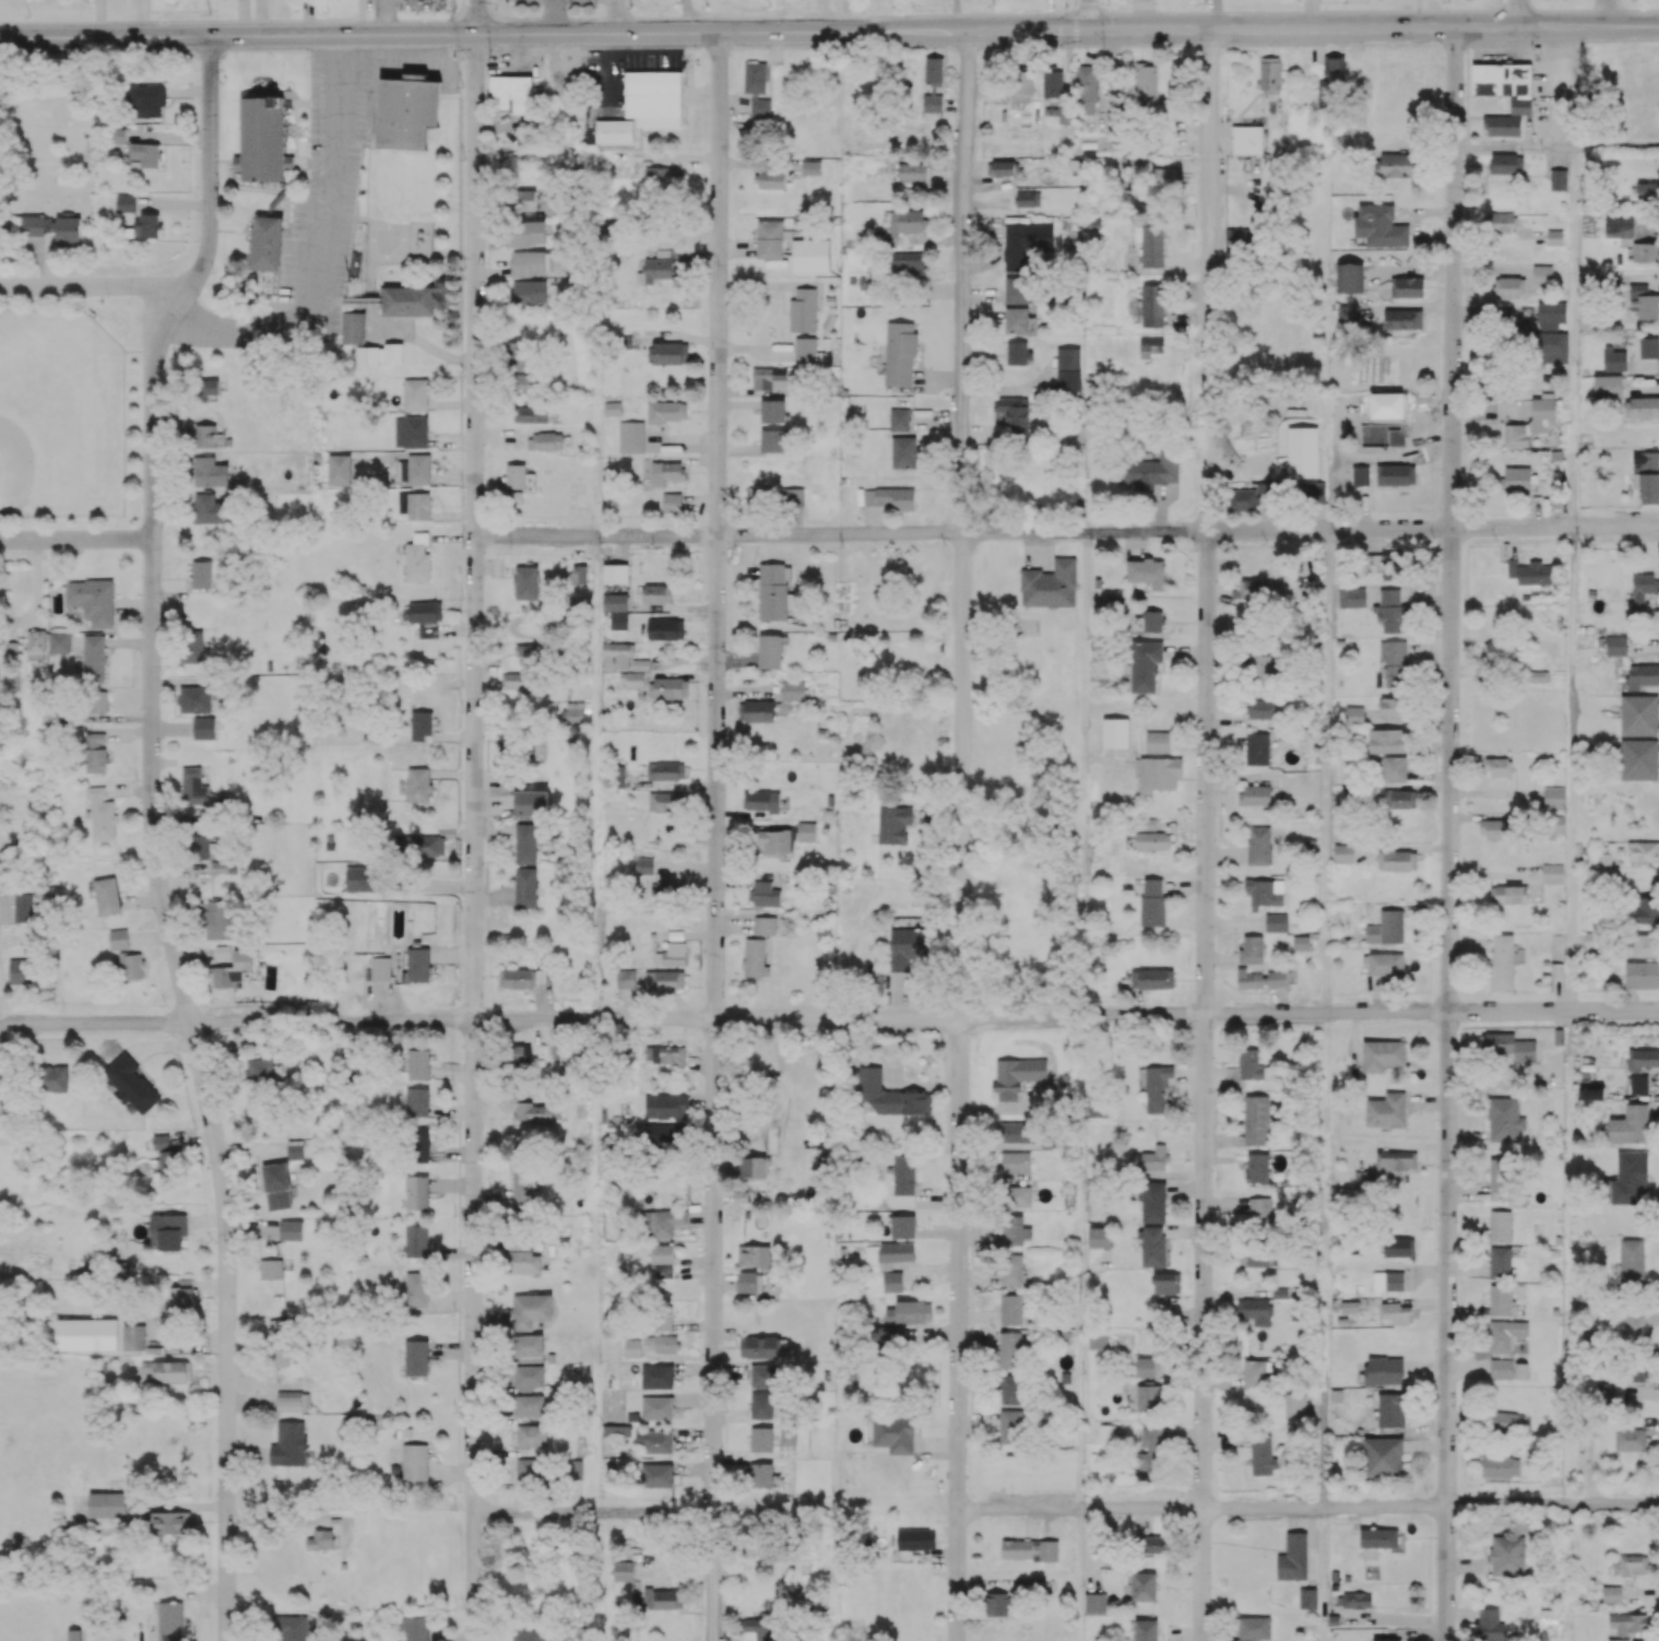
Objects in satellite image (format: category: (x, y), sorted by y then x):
road: (1517, 12)
road: (1088, 14)
road: (957, 15)
road: (477, 16)
traffic signals: (1088, 29)
road: (829, 31)
traffic signals: (477, 34)
building: (1270, 72)
building: (755, 76)
building: (1331, 78)
building: (1146, 80)
building: (1055, 83)
building: (1504, 83)
building: (933, 84)
building: (1022, 85)
road: (1562, 86)
building: (1086, 88)
building: (511, 93)
building: (147, 99)
building: (644, 105)
building: (760, 108)
building: (407, 110)
building: (1502, 125)
building: (116, 134)
building: (262, 139)
building: (1247, 139)
road: (1616, 146)
road: (1508, 147)
road: (1568, 147)
building: (144, 154)
building: (1130, 163)
road: (1209, 163)
building: (1505, 163)
building: (1397, 164)
building: (810, 167)
building: (1003, 167)
building: (912, 172)
building: (659, 175)
building: (1166, 176)
building: (771, 178)
building: (1557, 179)
building: (1648, 191)
building: (1028, 198)
building: (523, 199)
building: (125, 203)
building: (908, 221)
building: (1498, 222)
building: (26, 224)
building: (147, 224)
building: (1627, 224)
building: (1379, 226)
building: (67, 227)
building: (528, 233)
building: (1554, 237)
building: (770, 238)
building: (1240, 238)
road: (324, 241)
building: (266, 243)
building: (1026, 243)
building: (1150, 244)
building: (1645, 251)
building: (810, 255)
building: (532, 262)
building: (906, 263)
building: (655, 270)
building: (1542, 274)
building: (1349, 278)
road: (90, 286)
building: (1407, 286)
building: (1509, 287)
building: (1016, 290)
building: (529, 292)
building: (408, 300)
building: (1644, 300)
building: (1152, 305)
building: (803, 310)
building: (1348, 314)
building: (1016, 319)
building: (1402, 319)
building: (353, 328)
building: (1552, 333)
building: (1150, 345)
building: (1648, 346)
building: (805, 349)
building: (393, 352)
building: (669, 352)
building: (1018, 352)
building: (899, 353)
building: (367, 355)
building: (518, 355)
building: (1614, 361)
building: (1068, 368)
building: (768, 377)
building: (524, 382)
building: (1608, 386)
building: (206, 388)
building: (415, 393)
building: (613, 408)
building: (1643, 408)
building: (772, 410)
building: (1542, 410)
building: (533, 411)
building: (666, 411)
building: (1015, 414)
park: (62, 415)
building: (899, 418)
road: (594, 423)
building: (411, 432)
building: (205, 435)
building: (630, 436)
building: (545, 440)
building: (773, 440)
building: (904, 451)
building: (1303, 451)
building: (339, 469)
building: (415, 469)
building: (1149, 471)
building: (210, 472)
building: (666, 472)
building: (1396, 474)
building: (1358, 475)
building: (516, 476)
building: (1647, 476)
building: (1516, 479)
building: (1312, 492)
building: (761, 495)
building: (793, 496)
building: (1247, 496)
building: (890, 497)
building: (672, 501)
building: (415, 505)
building: (210, 508)
road: (1066, 531)
road: (75, 539)
building: (417, 558)
building: (1389, 566)
building: (1146, 571)
building: (615, 572)
building: (1530, 572)
building: (201, 574)
building: (578, 576)
road: (1573, 578)
building: (526, 582)
building: (1050, 583)
building: (1253, 590)
building: (773, 591)
building: (1642, 592)
building: (657, 593)
building: (1352, 597)
building: (92, 600)
building: (1105, 601)
building: (616, 609)
building: (1390, 610)
building: (424, 616)
building: (1152, 621)
building: (665, 628)
building: (59, 642)
building: (36, 644)
building: (1616, 645)
building: (193, 646)
building: (12, 649)
building: (770, 651)
building: (531, 652)
building: (1502, 652)
building: (616, 654)
building: (93, 658)
building: (1395, 662)
building: (640, 664)
building: (1145, 665)
building: (1258, 666)
building: (1539, 675)
building: (1642, 675)
building: (631, 678)
building: (518, 680)
building: (668, 687)
building: (793, 689)
building: (194, 698)
building: (97, 701)
building: (1393, 707)
building: (1259, 709)
building: (756, 710)
building: (573, 712)
building: (1639, 715)
building: (1354, 716)
building: (422, 724)
building: (203, 728)
building: (1115, 732)
building: (1387, 740)
building: (1157, 742)
building: (1257, 748)
building: (96, 752)
building: (1639, 759)
building: (1497, 766)
building: (1394, 769)
building: (665, 770)
road: (1326, 770)
road: (716, 771)
road: (965, 771)
building: (1157, 772)
road: (1083, 774)
road: (594, 777)
building: (418, 784)
building: (193, 787)
building: (1255, 794)
building: (1554, 798)
building: (1399, 799)
building: (664, 801)
building: (762, 801)
building: (532, 802)
building: (100, 814)
building: (1148, 823)
building: (893, 824)
building: (1556, 824)
building: (1495, 829)
building: (807, 831)
road: (1449, 833)
road: (153, 835)
road: (474, 837)
building: (1153, 840)
building: (775, 841)
building: (525, 843)
building: (1259, 845)
building: (424, 846)
building: (200, 847)
building: (1643, 851)
building: (1342, 853)
building: (1399, 860)
building: (644, 865)
building: (224, 866)
building: (1552, 873)
building: (363, 878)
building: (525, 887)
building: (665, 887)
building: (1264, 892)
building: (763, 894)
building: (1508, 894)
building: (107, 896)
building: (1152, 901)
building: (23, 907)
building: (1646, 910)
building: (218, 919)
building: (1276, 921)
building: (765, 924)
building: (1386, 928)
building: (118, 938)
building: (1301, 942)
building: (1646, 945)
building: (908, 946)
building: (1252, 949)
building: (224, 951)
building: (671, 954)
building: (755, 957)
building: (1502, 961)
building: (418, 964)
building: (1386, 964)
building: (131, 965)
building: (379, 968)
building: (233, 969)
building: (20, 971)
building: (1642, 975)
building: (518, 978)
building: (1152, 978)
building: (1277, 978)
building: (664, 979)
building: (1249, 979)
road: (1066, 1015)
road: (237, 1022)
road: (1204, 1042)
building: (1509, 1046)
building: (521, 1054)
building: (665, 1054)
building: (1383, 1054)
building: (1643, 1059)
building: (418, 1064)
building: (1244, 1069)
building: (259, 1070)
building: (1017, 1075)
building: (54, 1078)
building: (131, 1084)
building: (1639, 1084)
building: (1158, 1088)
building: (1591, 1093)
building: (890, 1095)
building: (416, 1101)
building: (665, 1106)
building: (1100, 1108)
building: (1386, 1110)
building: (531, 1113)
building: (1256, 1120)
building: (1505, 1120)
building: (1631, 1124)
building: (1015, 1131)
building: (665, 1134)
building: (163, 1141)
building: (418, 1144)
building: (295, 1149)
building: (1154, 1158)
building: (1396, 1159)
building: (168, 1161)
building: (1015, 1161)
building: (754, 1166)
building: (1257, 1168)
building: (903, 1174)
building: (1496, 1176)
building: (1630, 1178)
building: (523, 1183)
building: (276, 1185)
building: (416, 1192)
building: (1018, 1195)
building: (1153, 1201)
building: (1259, 1209)
building: (661, 1221)
building: (1500, 1225)
building: (903, 1226)
building: (1014, 1229)
building: (168, 1230)
building: (292, 1230)
building: (518, 1236)
building: (1099, 1237)
building: (416, 1241)
building: (1152, 1245)
building: (1399, 1247)
building: (1256, 1253)
building: (754, 1254)
building: (887, 1255)
road: (1569, 1256)
road: (1325, 1259)
building: (663, 1260)
building: (524, 1262)
road: (1080, 1262)
building: (1500, 1262)
building: (1632, 1263)
building: (272, 1268)
building: (1011, 1270)
building: (746, 1280)
building: (892, 1280)
building: (1387, 1280)
building: (1166, 1283)
building: (416, 1289)
building: (1282, 1291)
building: (181, 1296)
building: (1500, 1299)
building: (1011, 1309)
building: (531, 1310)
building: (1255, 1310)
building: (909, 1312)
building: (1397, 1312)
building: (663, 1318)
building: (1635, 1326)
building: (1504, 1334)
building: (885, 1336)
building: (1098, 1338)
building: (280, 1342)
building: (662, 1343)
building: (759, 1346)
building: (528, 1347)
building: (631, 1347)
building: (1010, 1349)
building: (415, 1357)
building: (1145, 1367)
building: (1501, 1368)
building: (1384, 1370)
building: (171, 1371)
building: (1254, 1372)
building: (1635, 1372)
building: (529, 1376)
building: (656, 1376)
building: (763, 1376)
building: (1011, 1389)
building: (1609, 1392)
building: (1149, 1396)
building: (293, 1401)
building: (529, 1405)
building: (761, 1405)
building: (1295, 1405)
building: (656, 1407)
building: (1391, 1409)
building: (1506, 1420)
building: (1010, 1426)
building: (616, 1430)
building: (893, 1433)
building: (531, 1435)
building: (787, 1435)
building: (761, 1438)
building: (1630, 1439)
building: (653, 1441)
building: (291, 1444)
building: (1149, 1454)
building: (1261, 1455)
building: (1383, 1456)
building: (415, 1462)
building: (1501, 1465)
building: (576, 1468)
building: (530, 1471)
building: (656, 1474)
building: (763, 1475)
building: (107, 1504)
road: (1307, 1506)
road: (656, 1512)
building: (173, 1522)
building: (1378, 1537)
building: (915, 1538)
building: (321, 1539)
building: (1157, 1544)
building: (1029, 1549)
building: (1507, 1555)
building: (1293, 1557)
building: (1631, 1565)
building: (623, 1570)
road: (713, 1577)
road: (956, 1577)
building: (1036, 1584)
building: (1142, 1585)
building: (1611, 1594)
building: (663, 1597)
building: (1307, 1597)
building: (1353, 1599)
building: (1094, 1602)
building: (995, 1604)
building: (1549, 1615)
building: (170, 1620)
building: (1628, 1622)
building: (1493, 1626)
building: (758, 1627)
building: (1254, 1627)
building: (293, 1628)
building: (414, 1628)
building: (1146, 1630)
building: (74, 1634)
building: (529, 1636)
building: (1386, 1639)
building: (1617, 1639)

